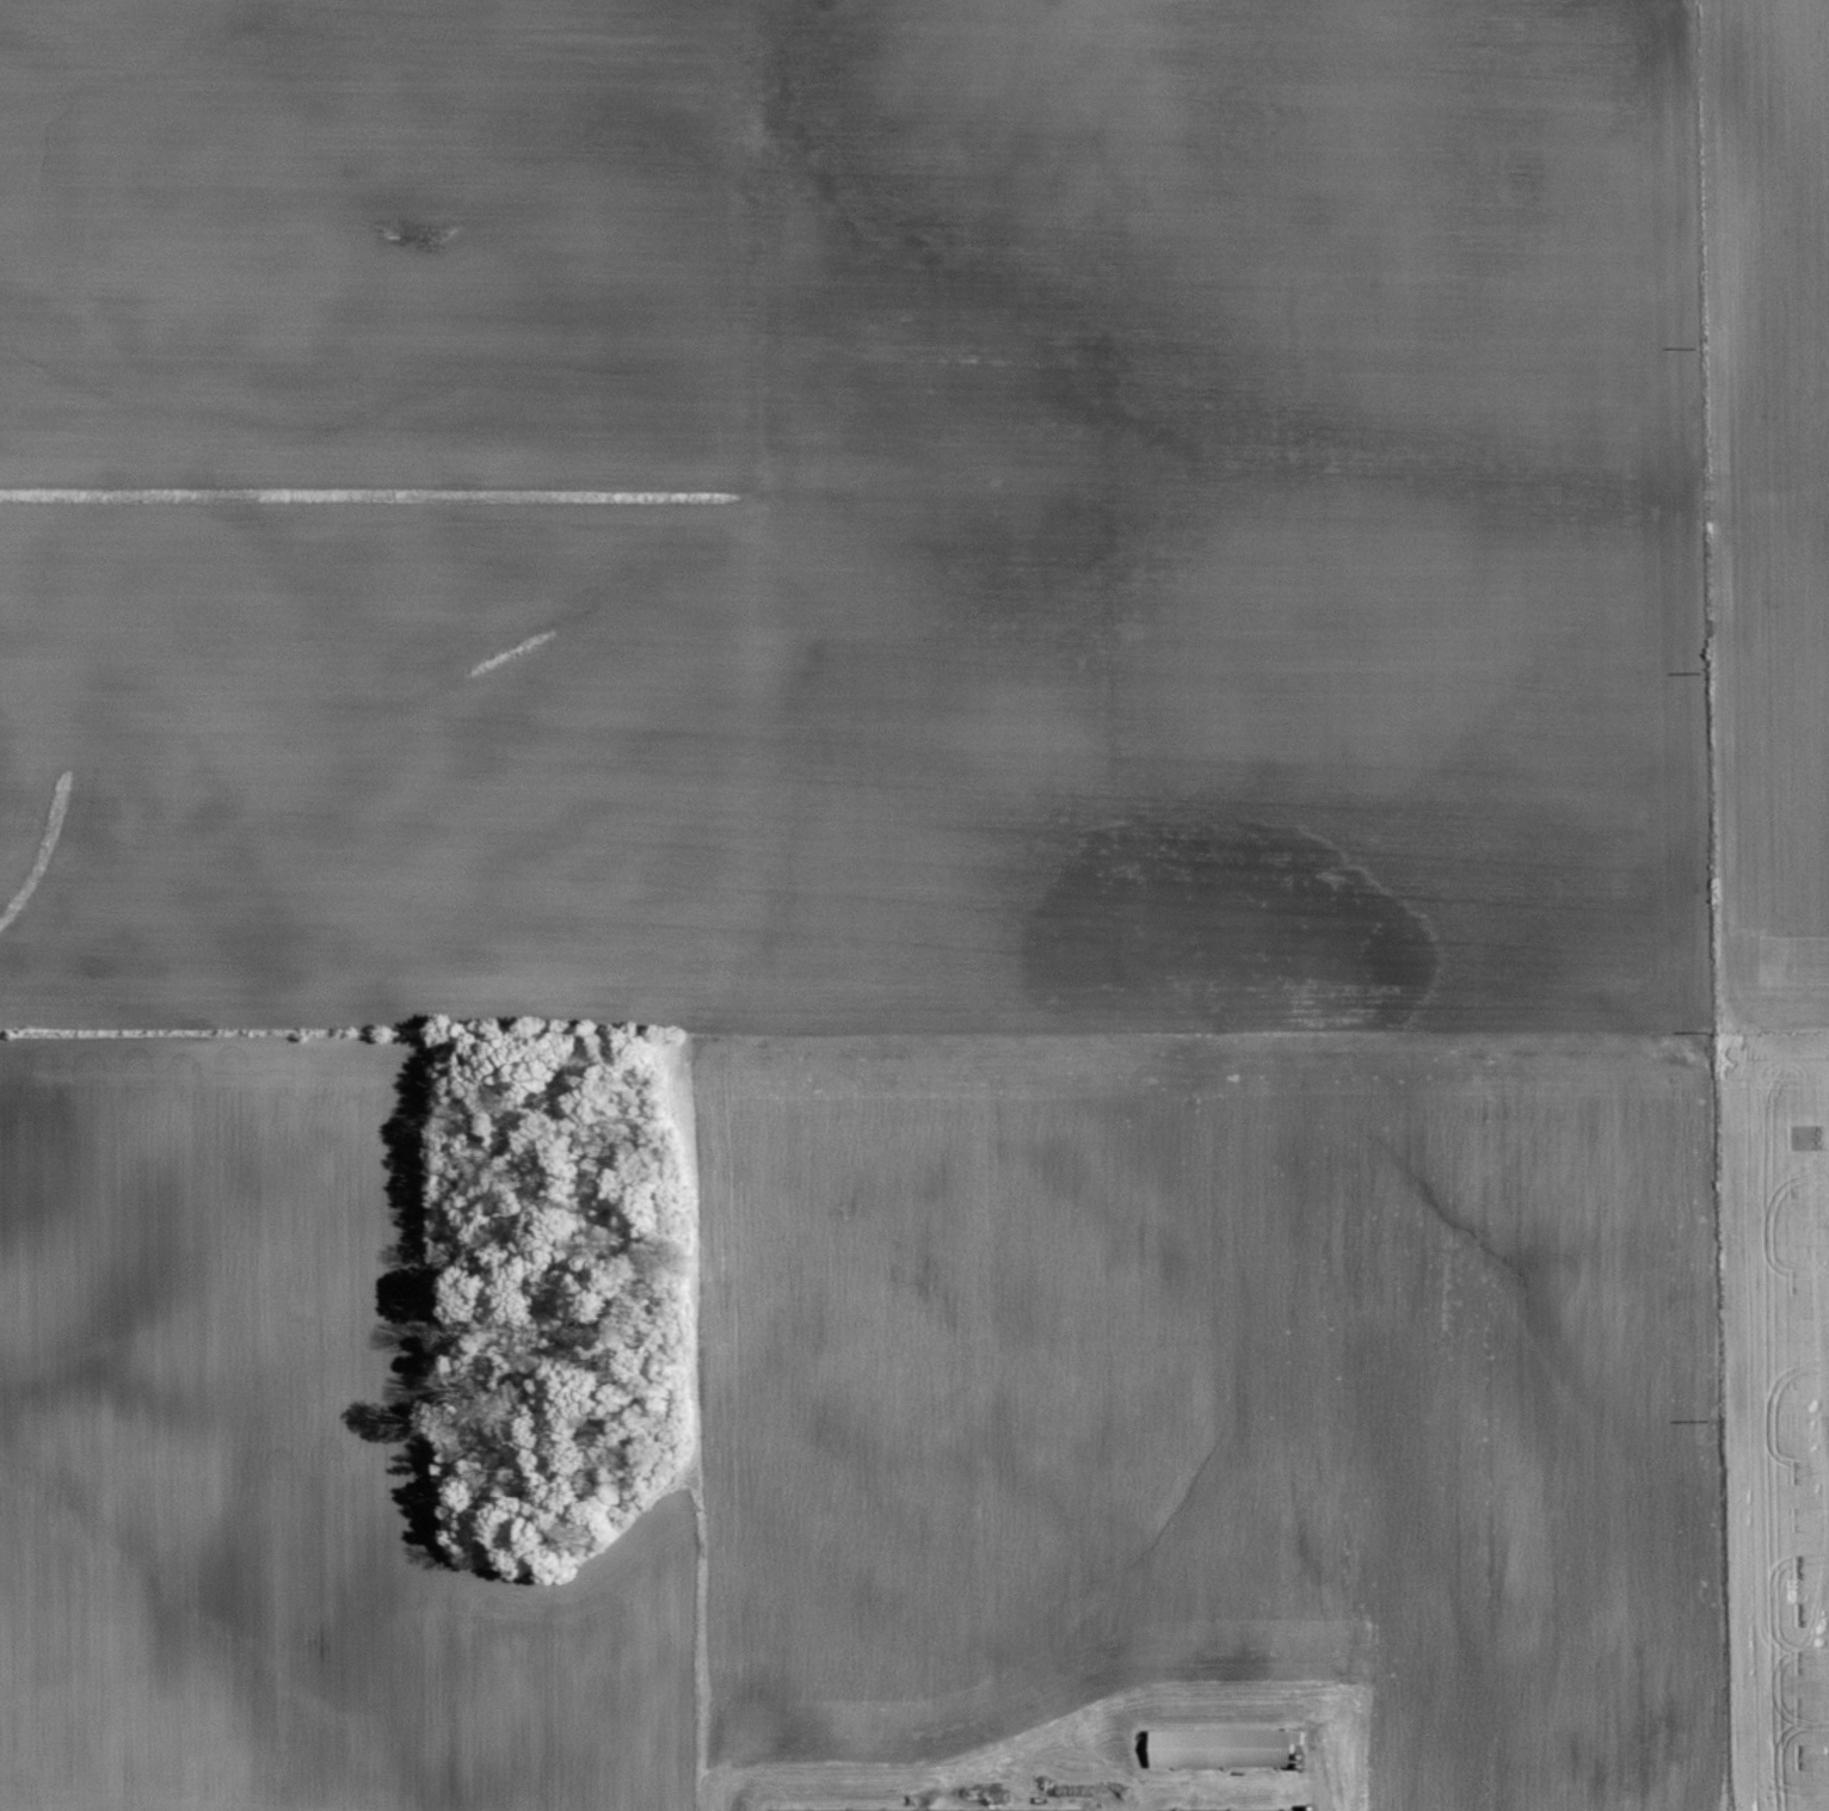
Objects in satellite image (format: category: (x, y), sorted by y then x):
building: (1223, 1749)
building: (780, 1810)

